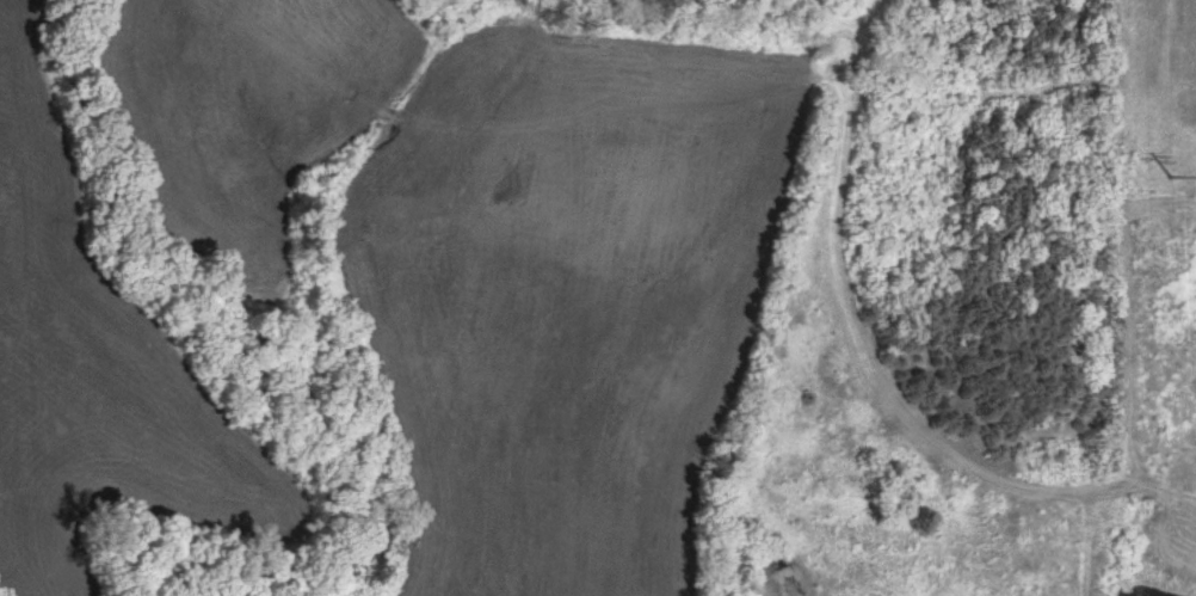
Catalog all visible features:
power tower: (1175, 180)
road: (906, 368)

